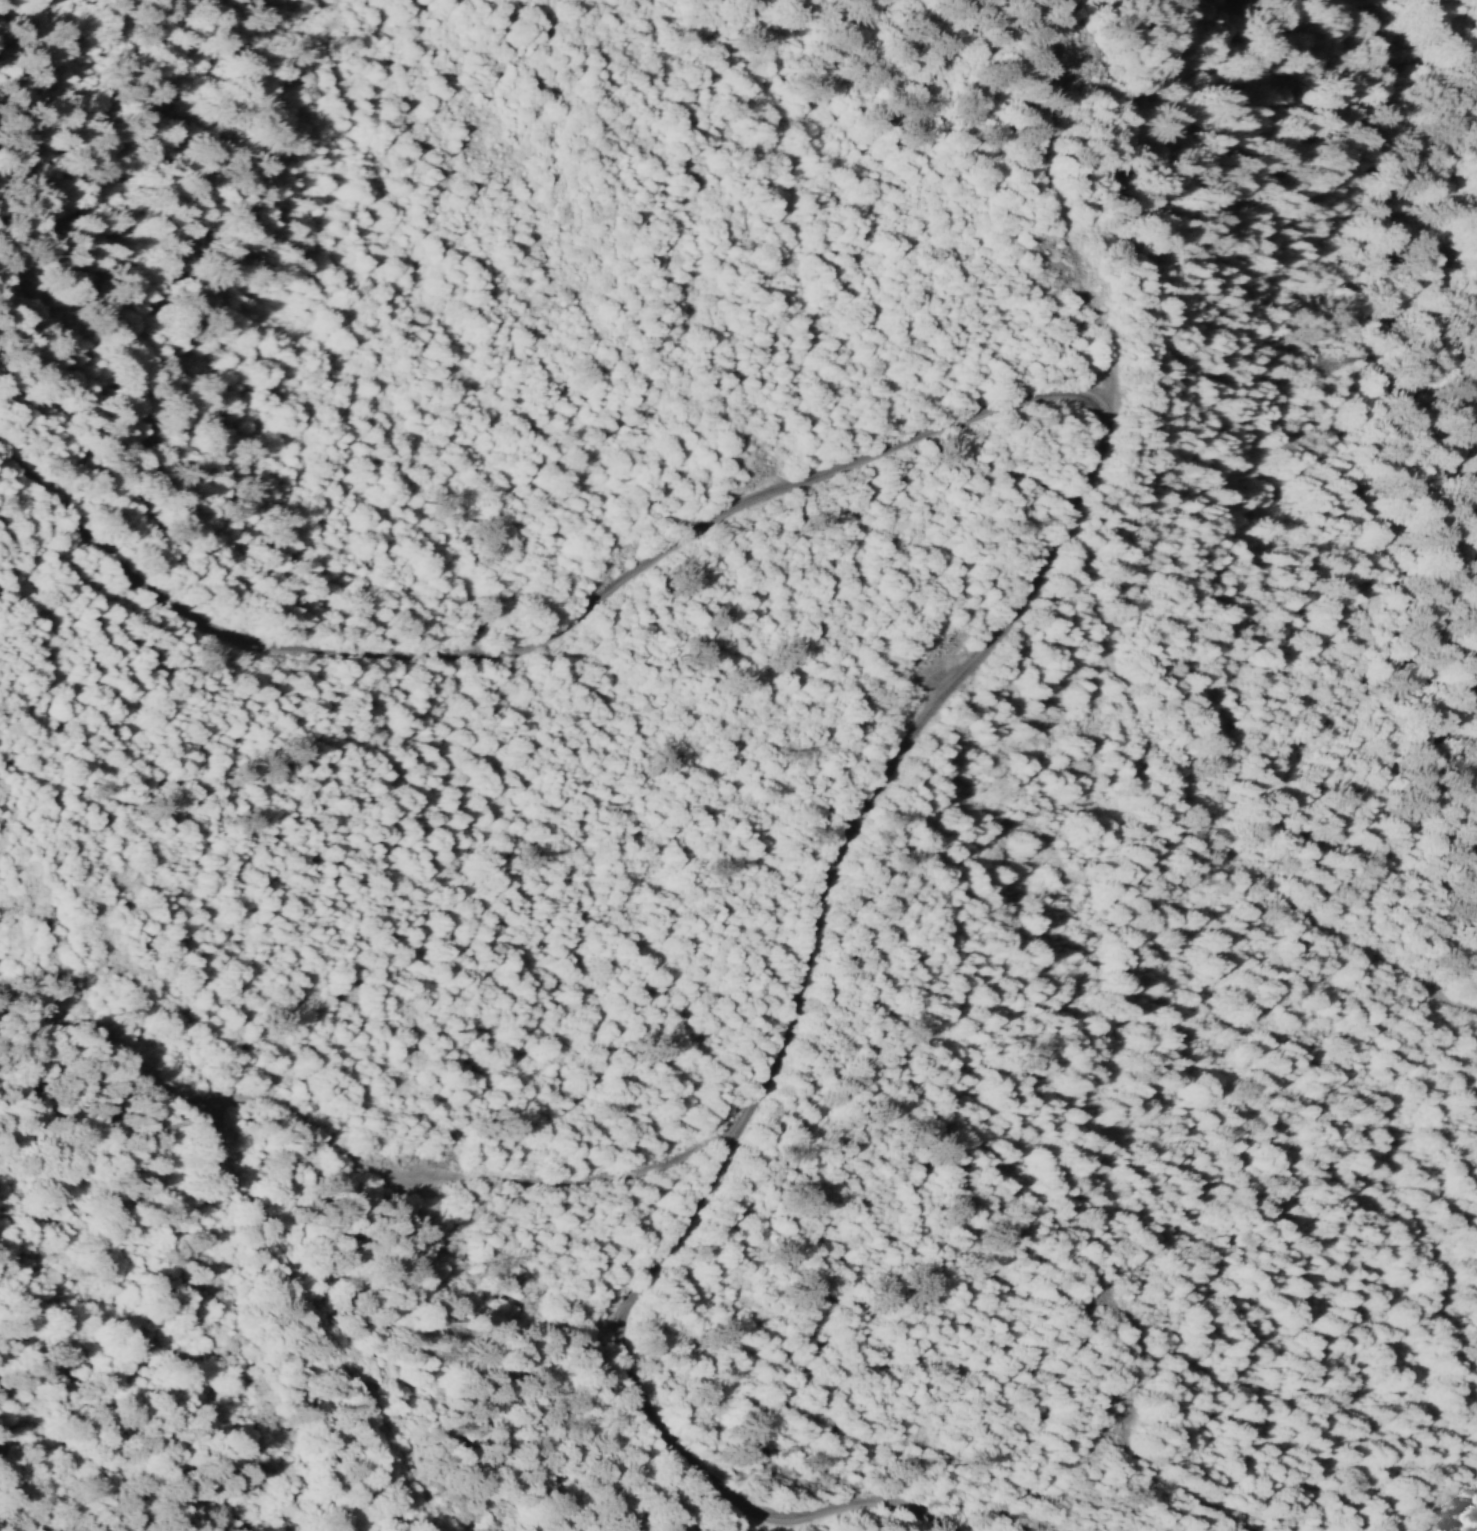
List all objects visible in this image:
road: (1057, 540)

